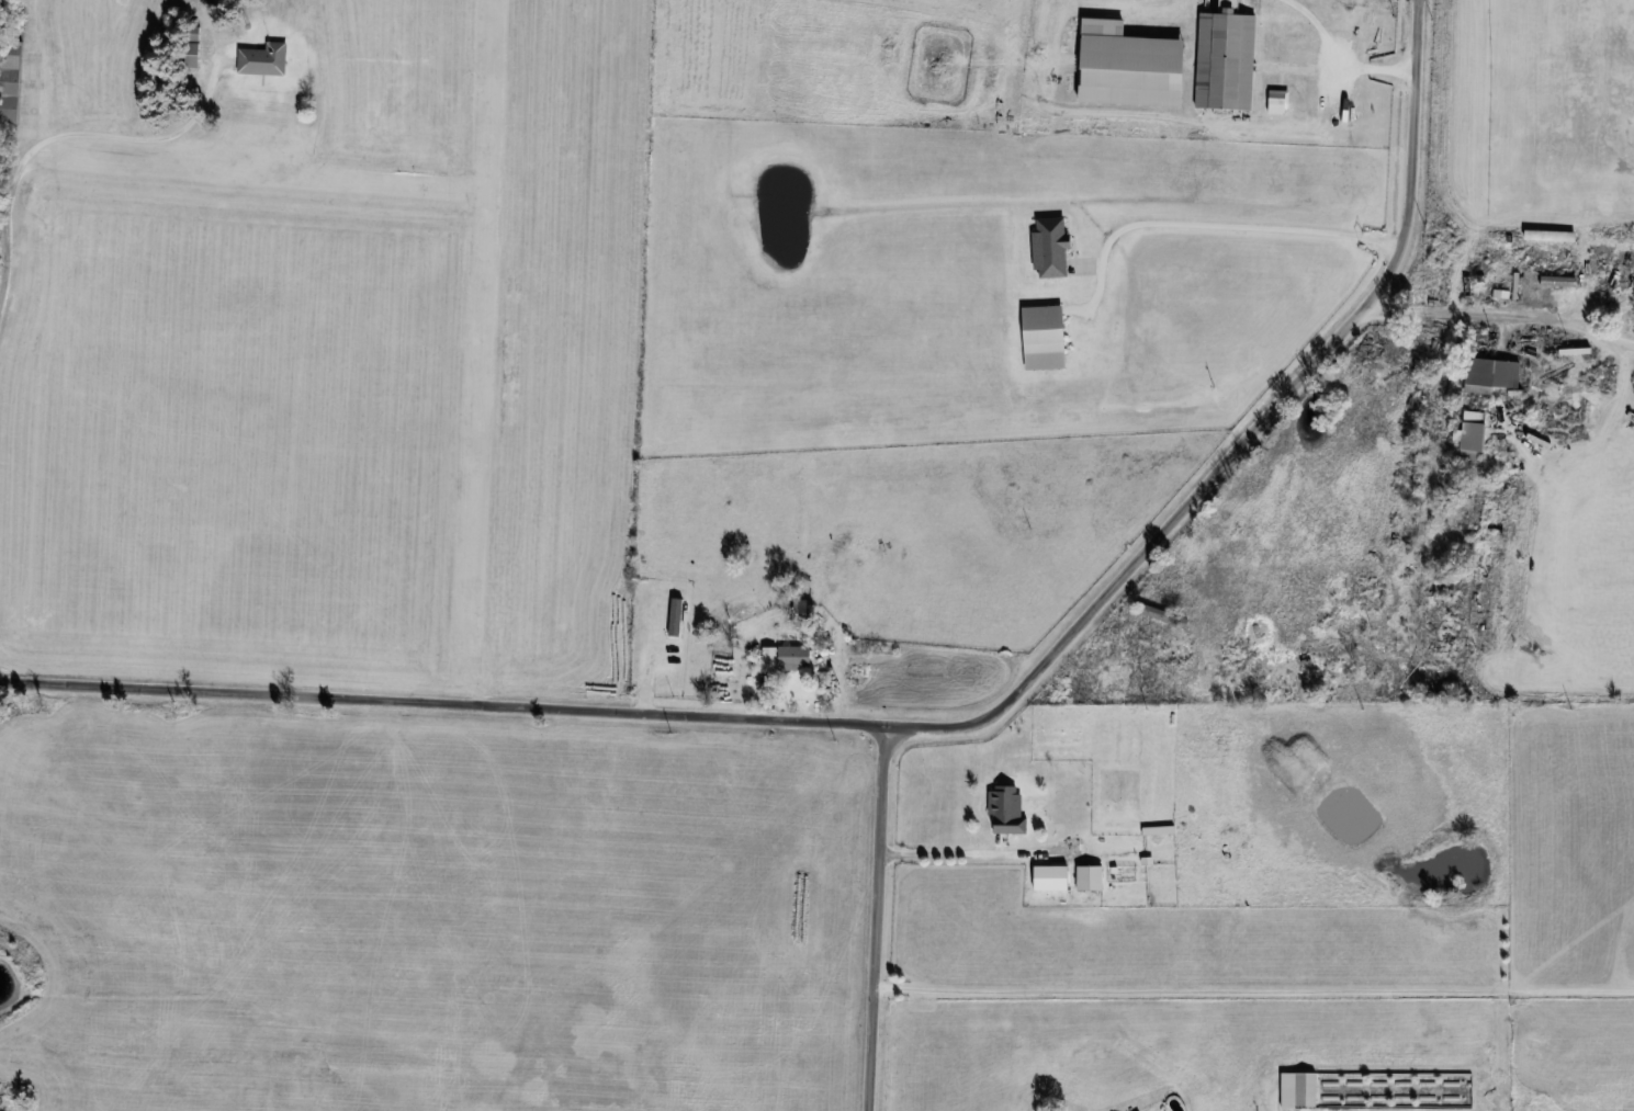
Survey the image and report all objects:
building: (1299, 36)
building: (266, 59)
road: (1372, 67)
airport hangar: (11, 77)
building: (11, 79)
road: (77, 134)
road: (1216, 230)
building: (1558, 280)
airport runway: (475, 329)
building: (1046, 336)
building: (1491, 374)
road: (1249, 434)
building: (1469, 438)
building: (801, 608)
building: (1167, 614)
building: (788, 656)
road: (441, 702)
building: (1008, 810)
road: (971, 858)
building: (1091, 877)
road: (875, 917)
road: (1252, 990)

